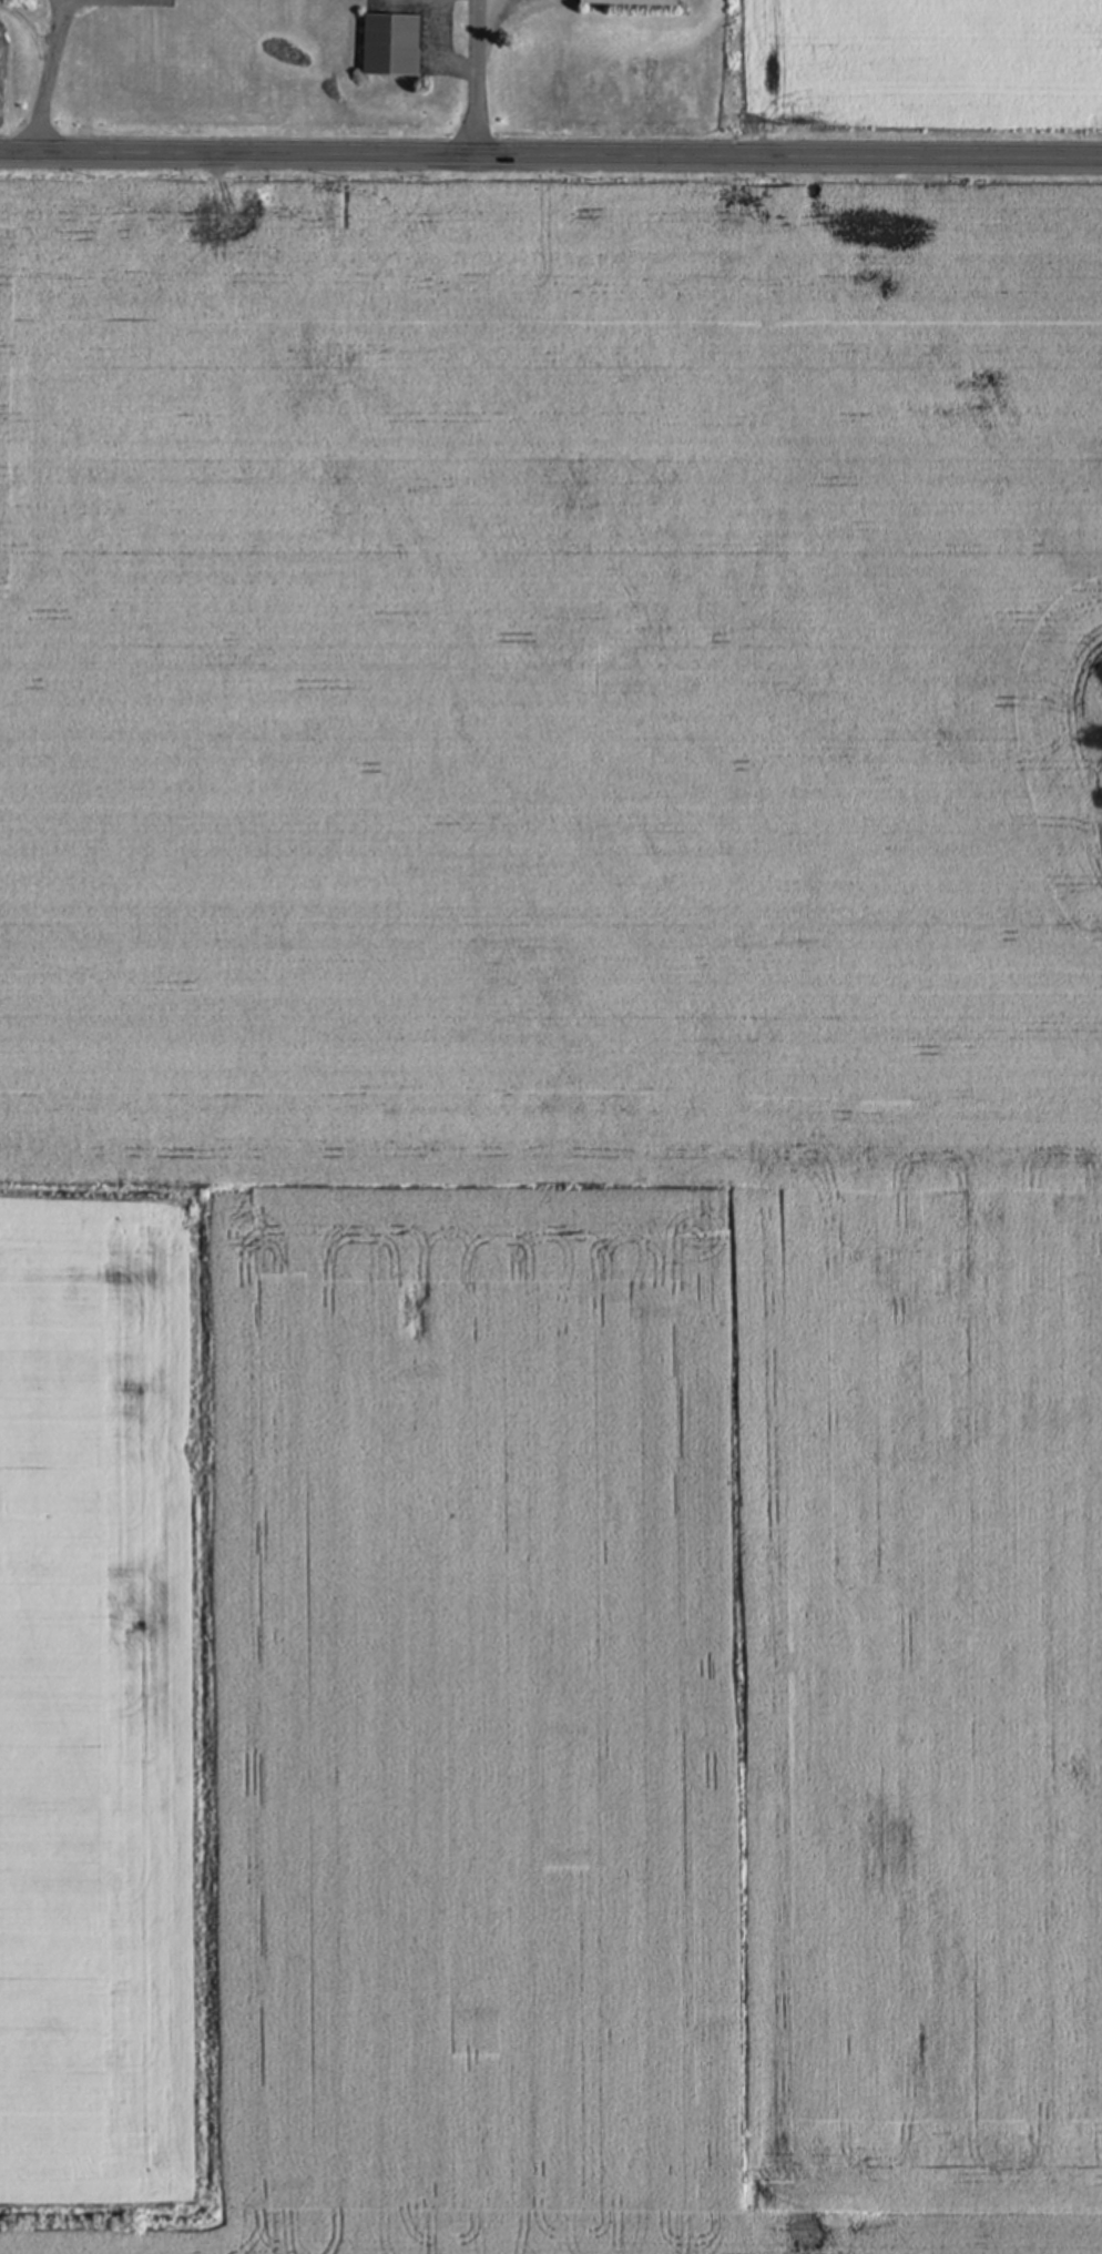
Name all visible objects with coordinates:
building: (635, 3)
building: (394, 45)
road: (48, 79)
road: (479, 79)
road: (551, 159)

